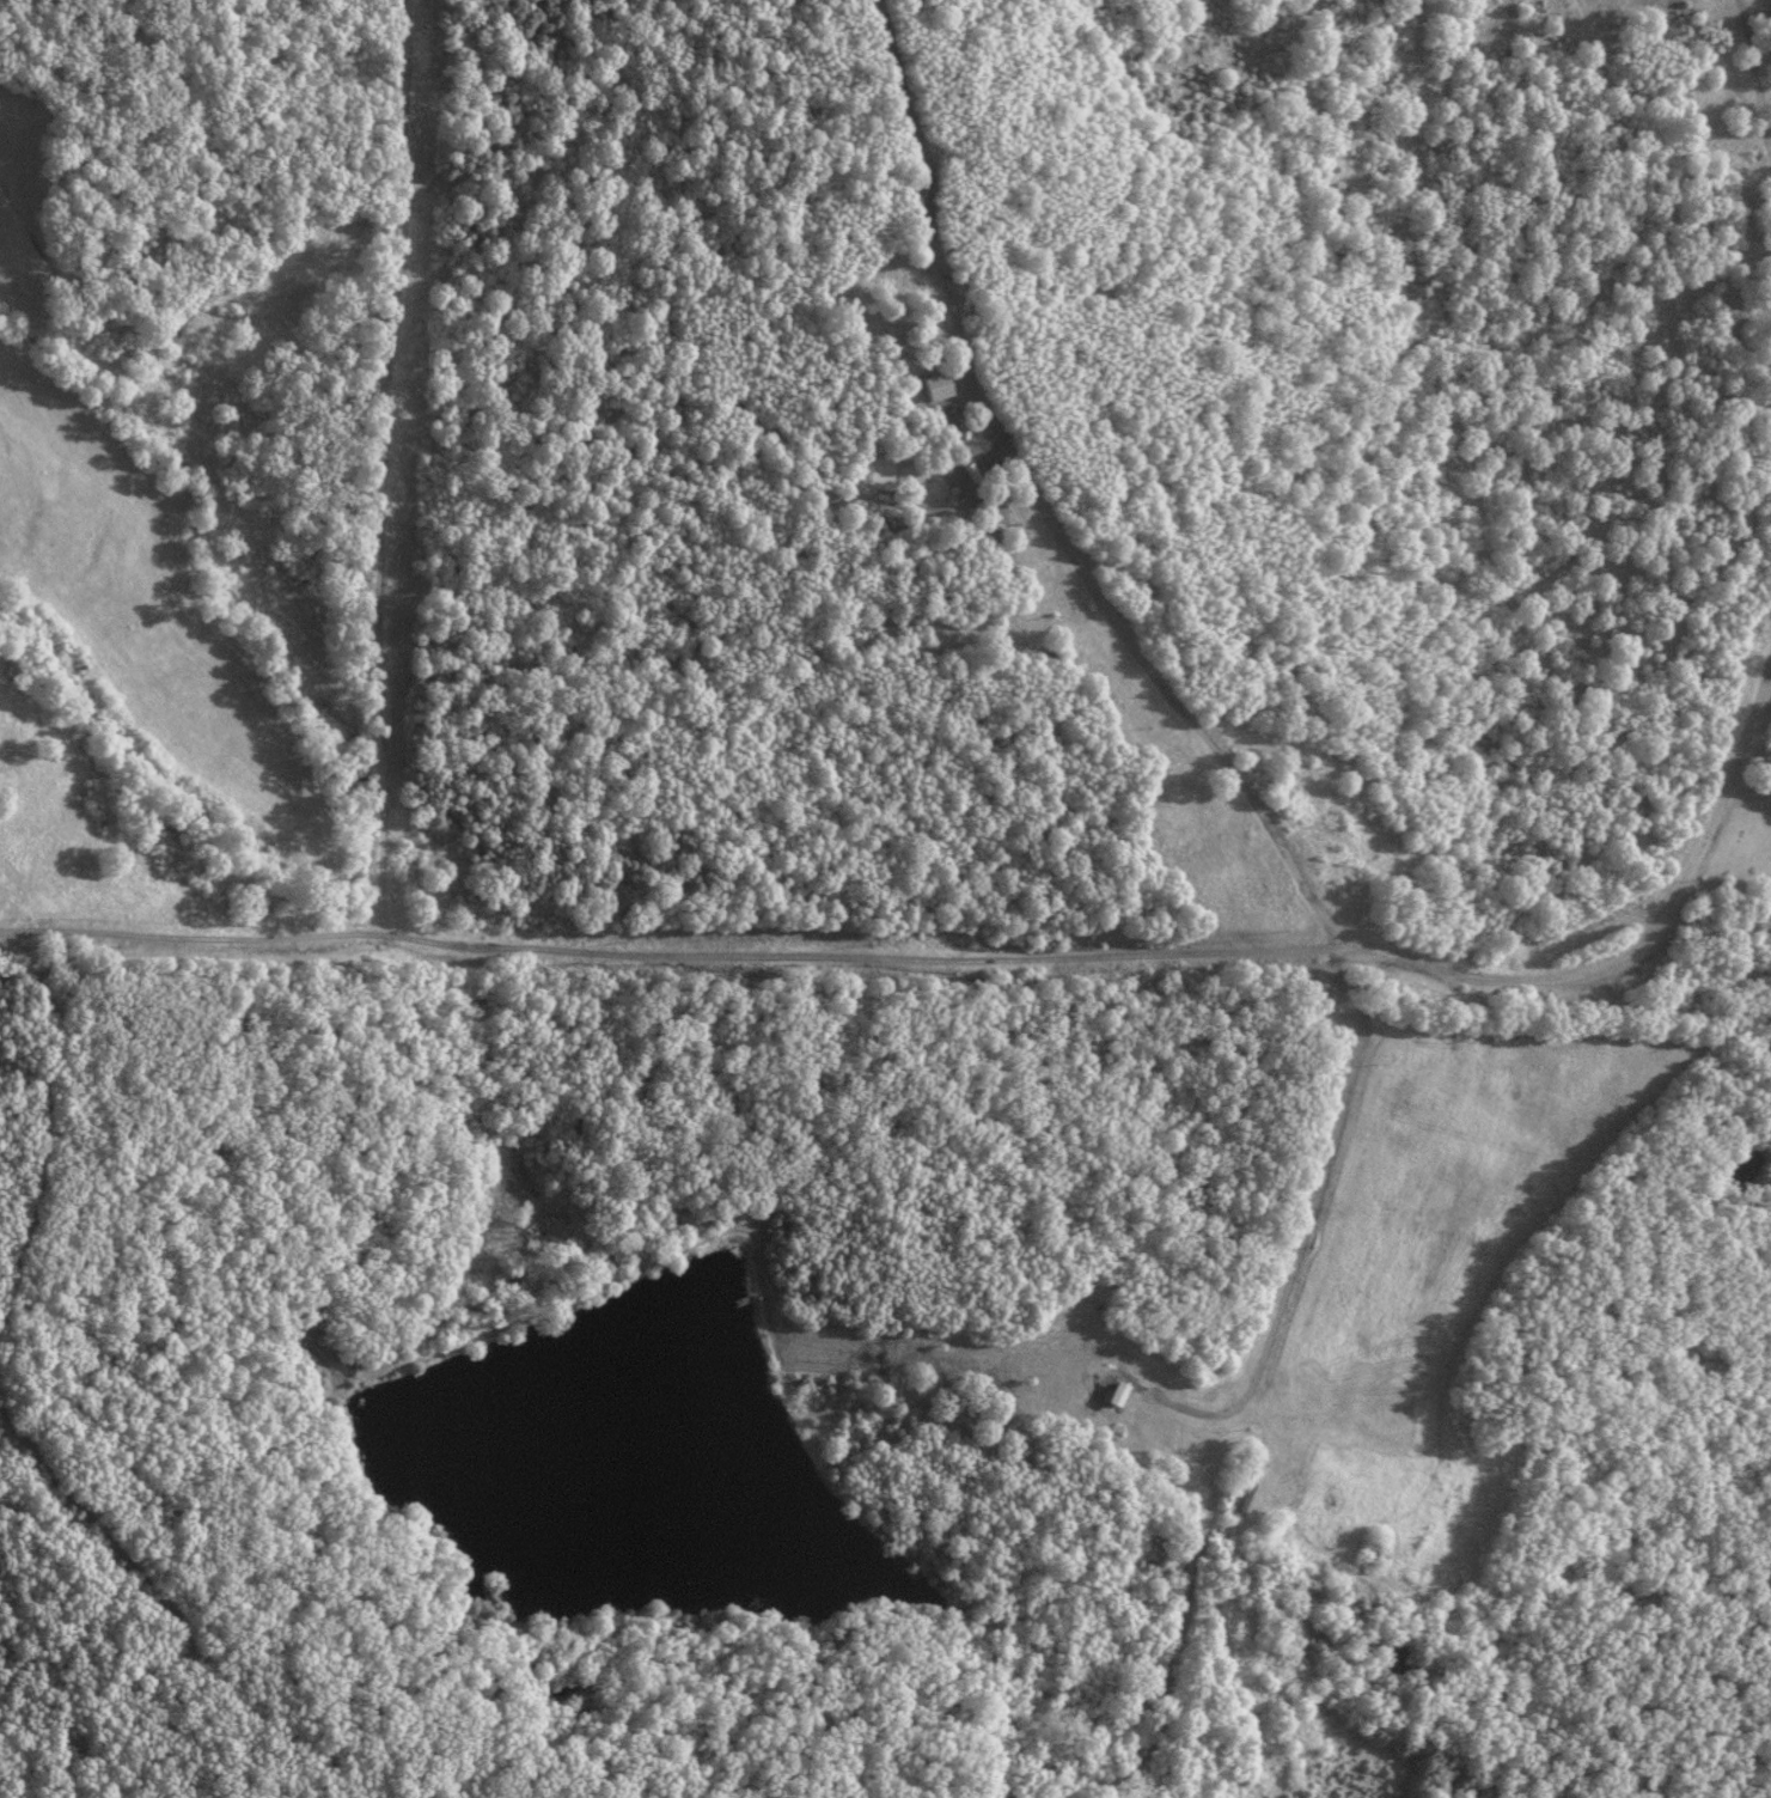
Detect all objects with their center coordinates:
road: (1199, 1573)

